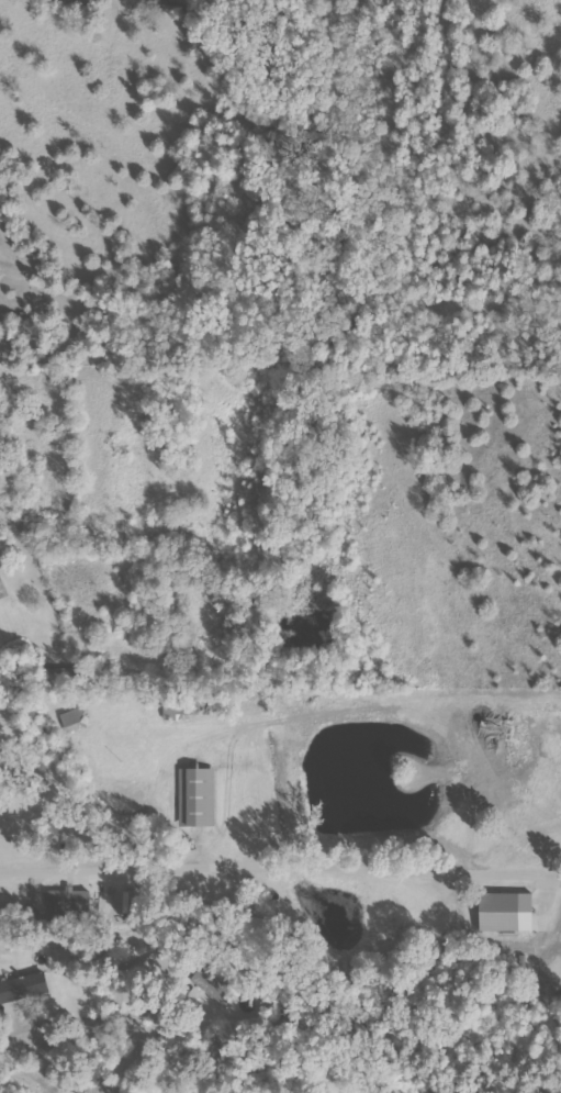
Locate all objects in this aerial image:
building: (2, 587)
building: (72, 720)
building: (205, 805)
road: (280, 867)
building: (68, 902)
building: (504, 912)
building: (261, 925)
building: (212, 986)
building: (23, 988)

